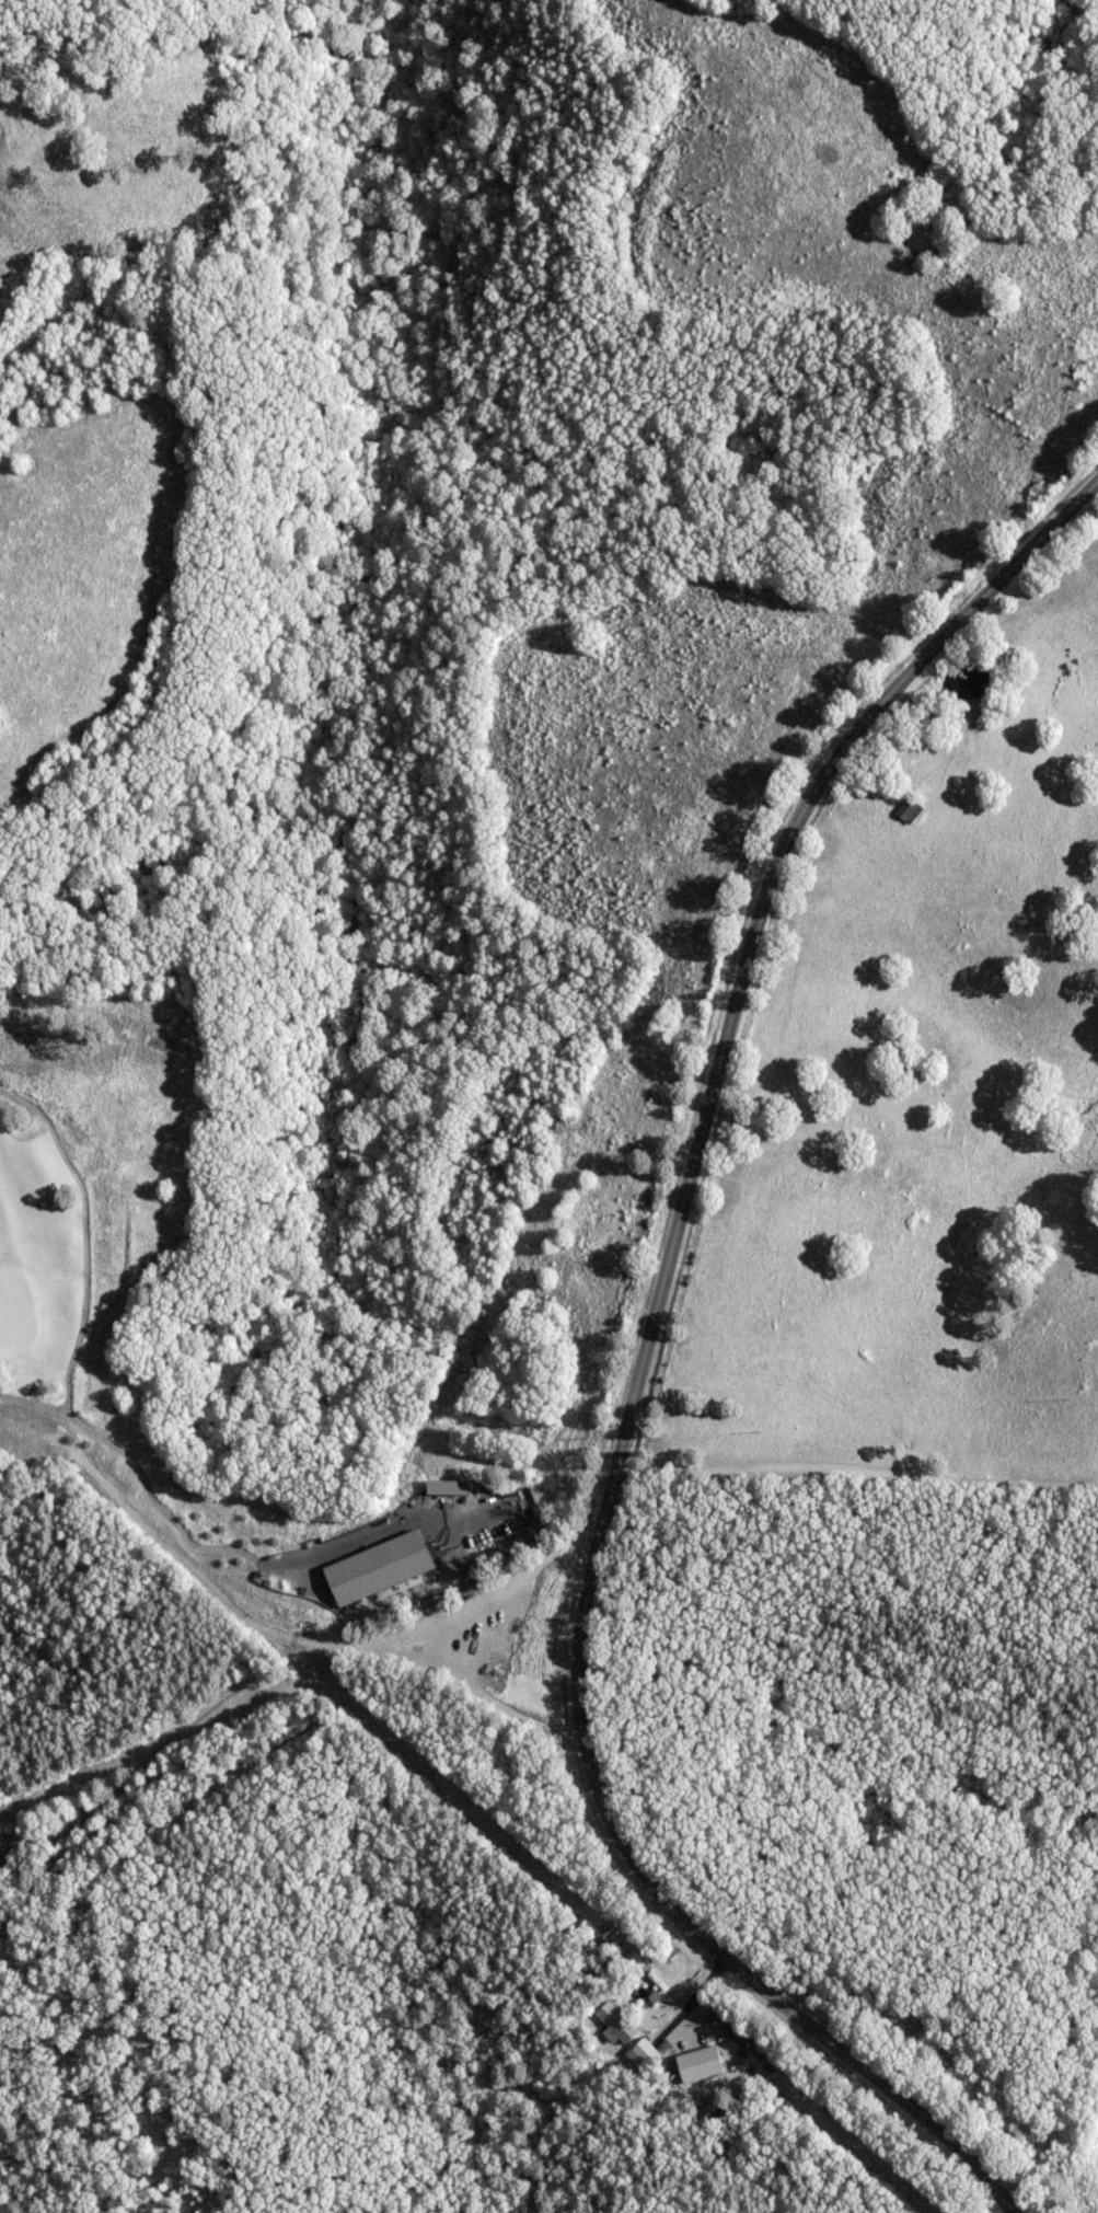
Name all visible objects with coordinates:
road: (640, 1369)
road: (855, 1471)
building: (448, 1486)
building: (375, 1567)
road: (471, 1638)
road: (373, 1747)
road: (692, 1998)
building: (614, 2024)
building: (642, 2053)

